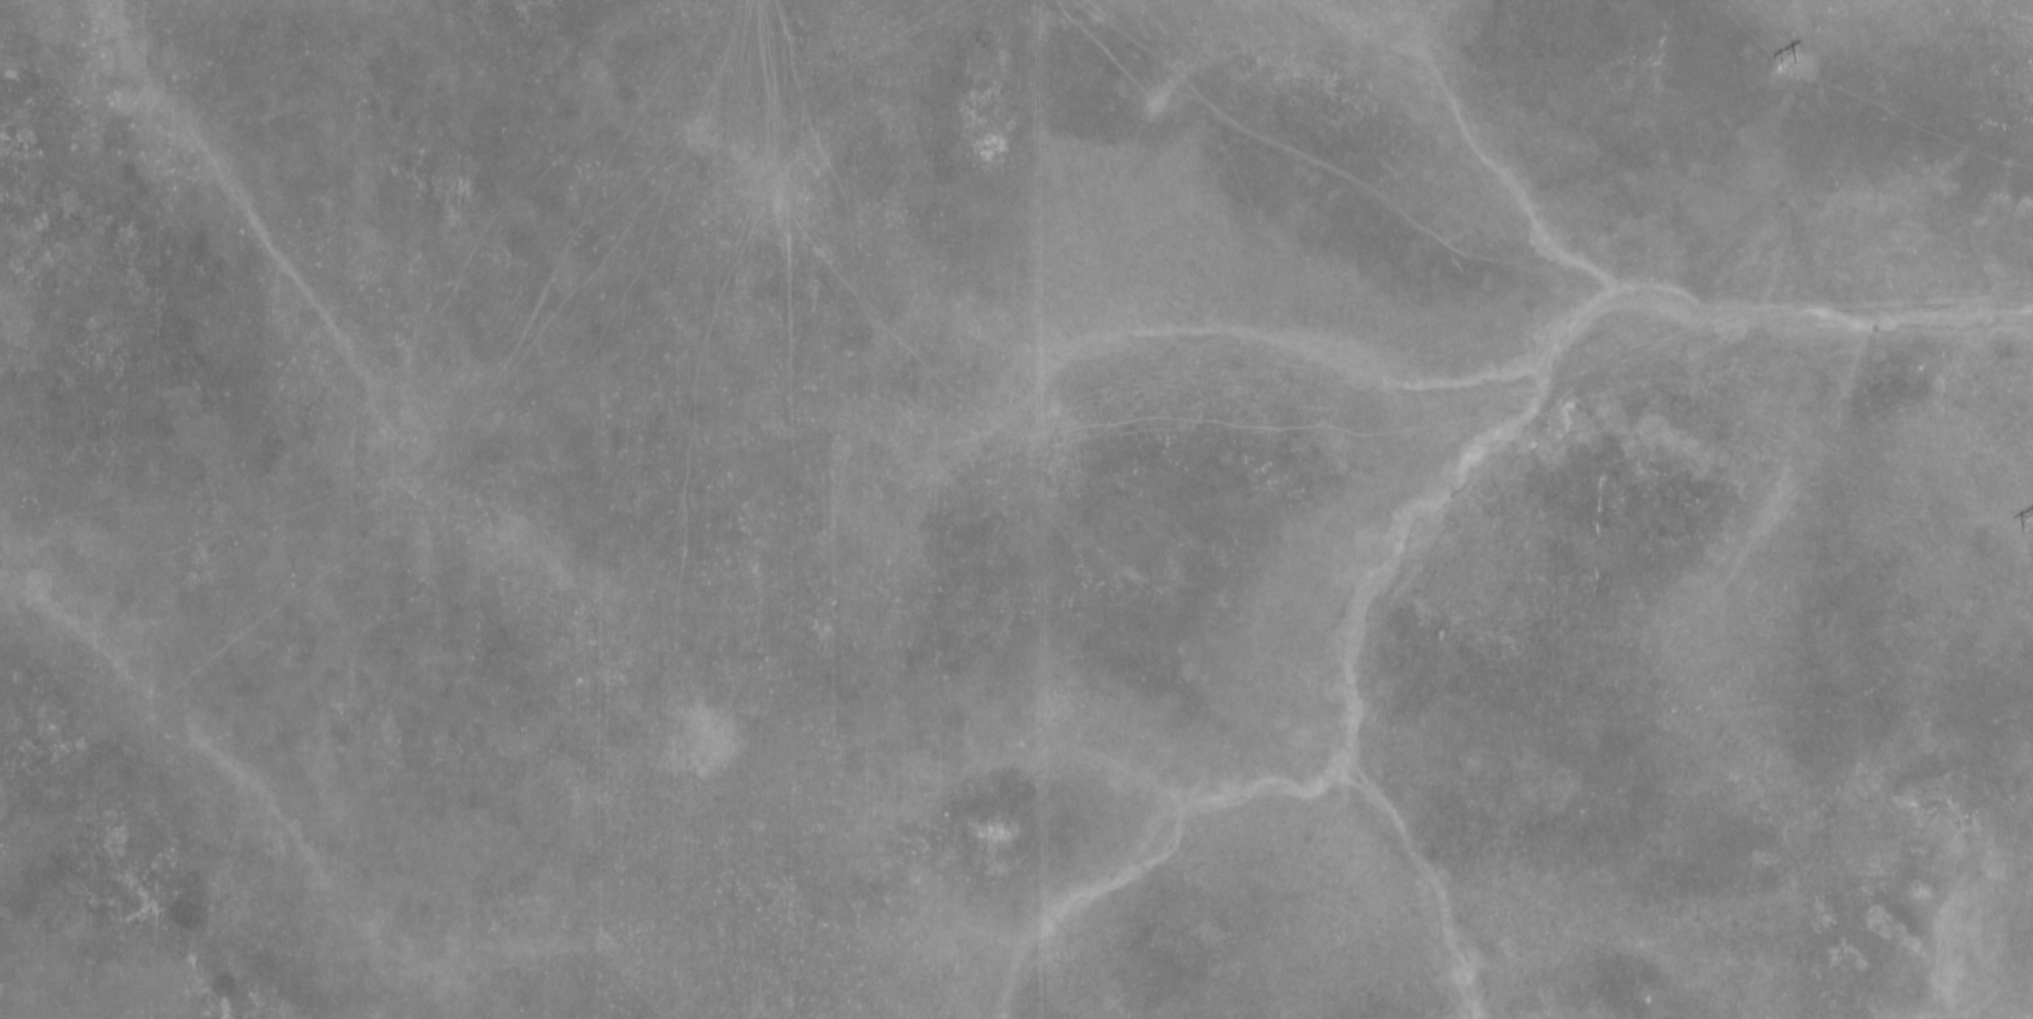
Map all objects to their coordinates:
power tower: (1785, 65)
power tower: (2026, 529)

